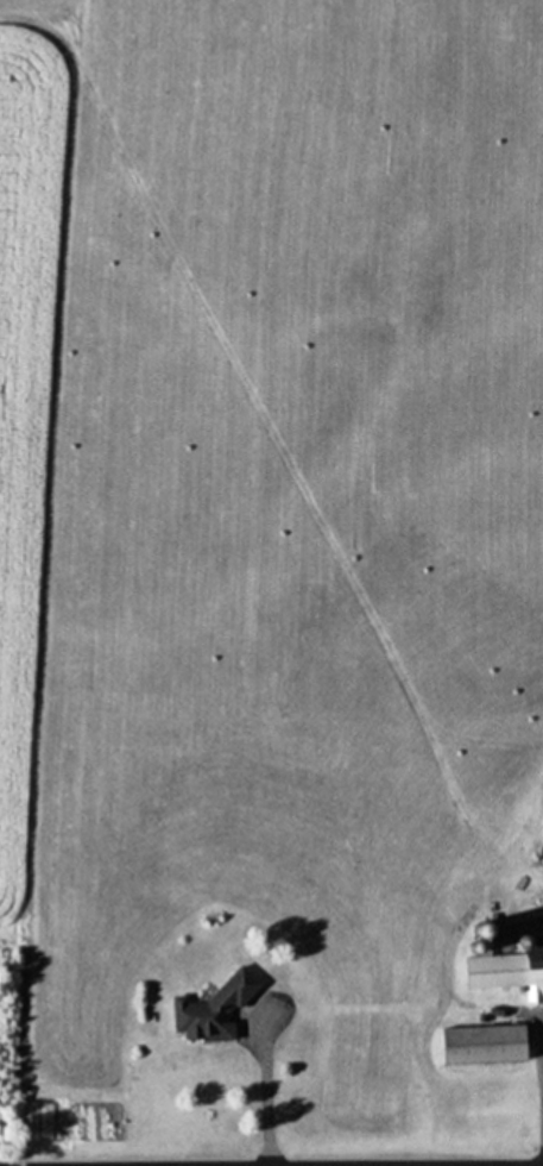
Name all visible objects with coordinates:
building: (505, 970)
building: (211, 1008)
building: (480, 1043)
road: (264, 1099)
road: (541, 1145)
road: (541, 1165)

